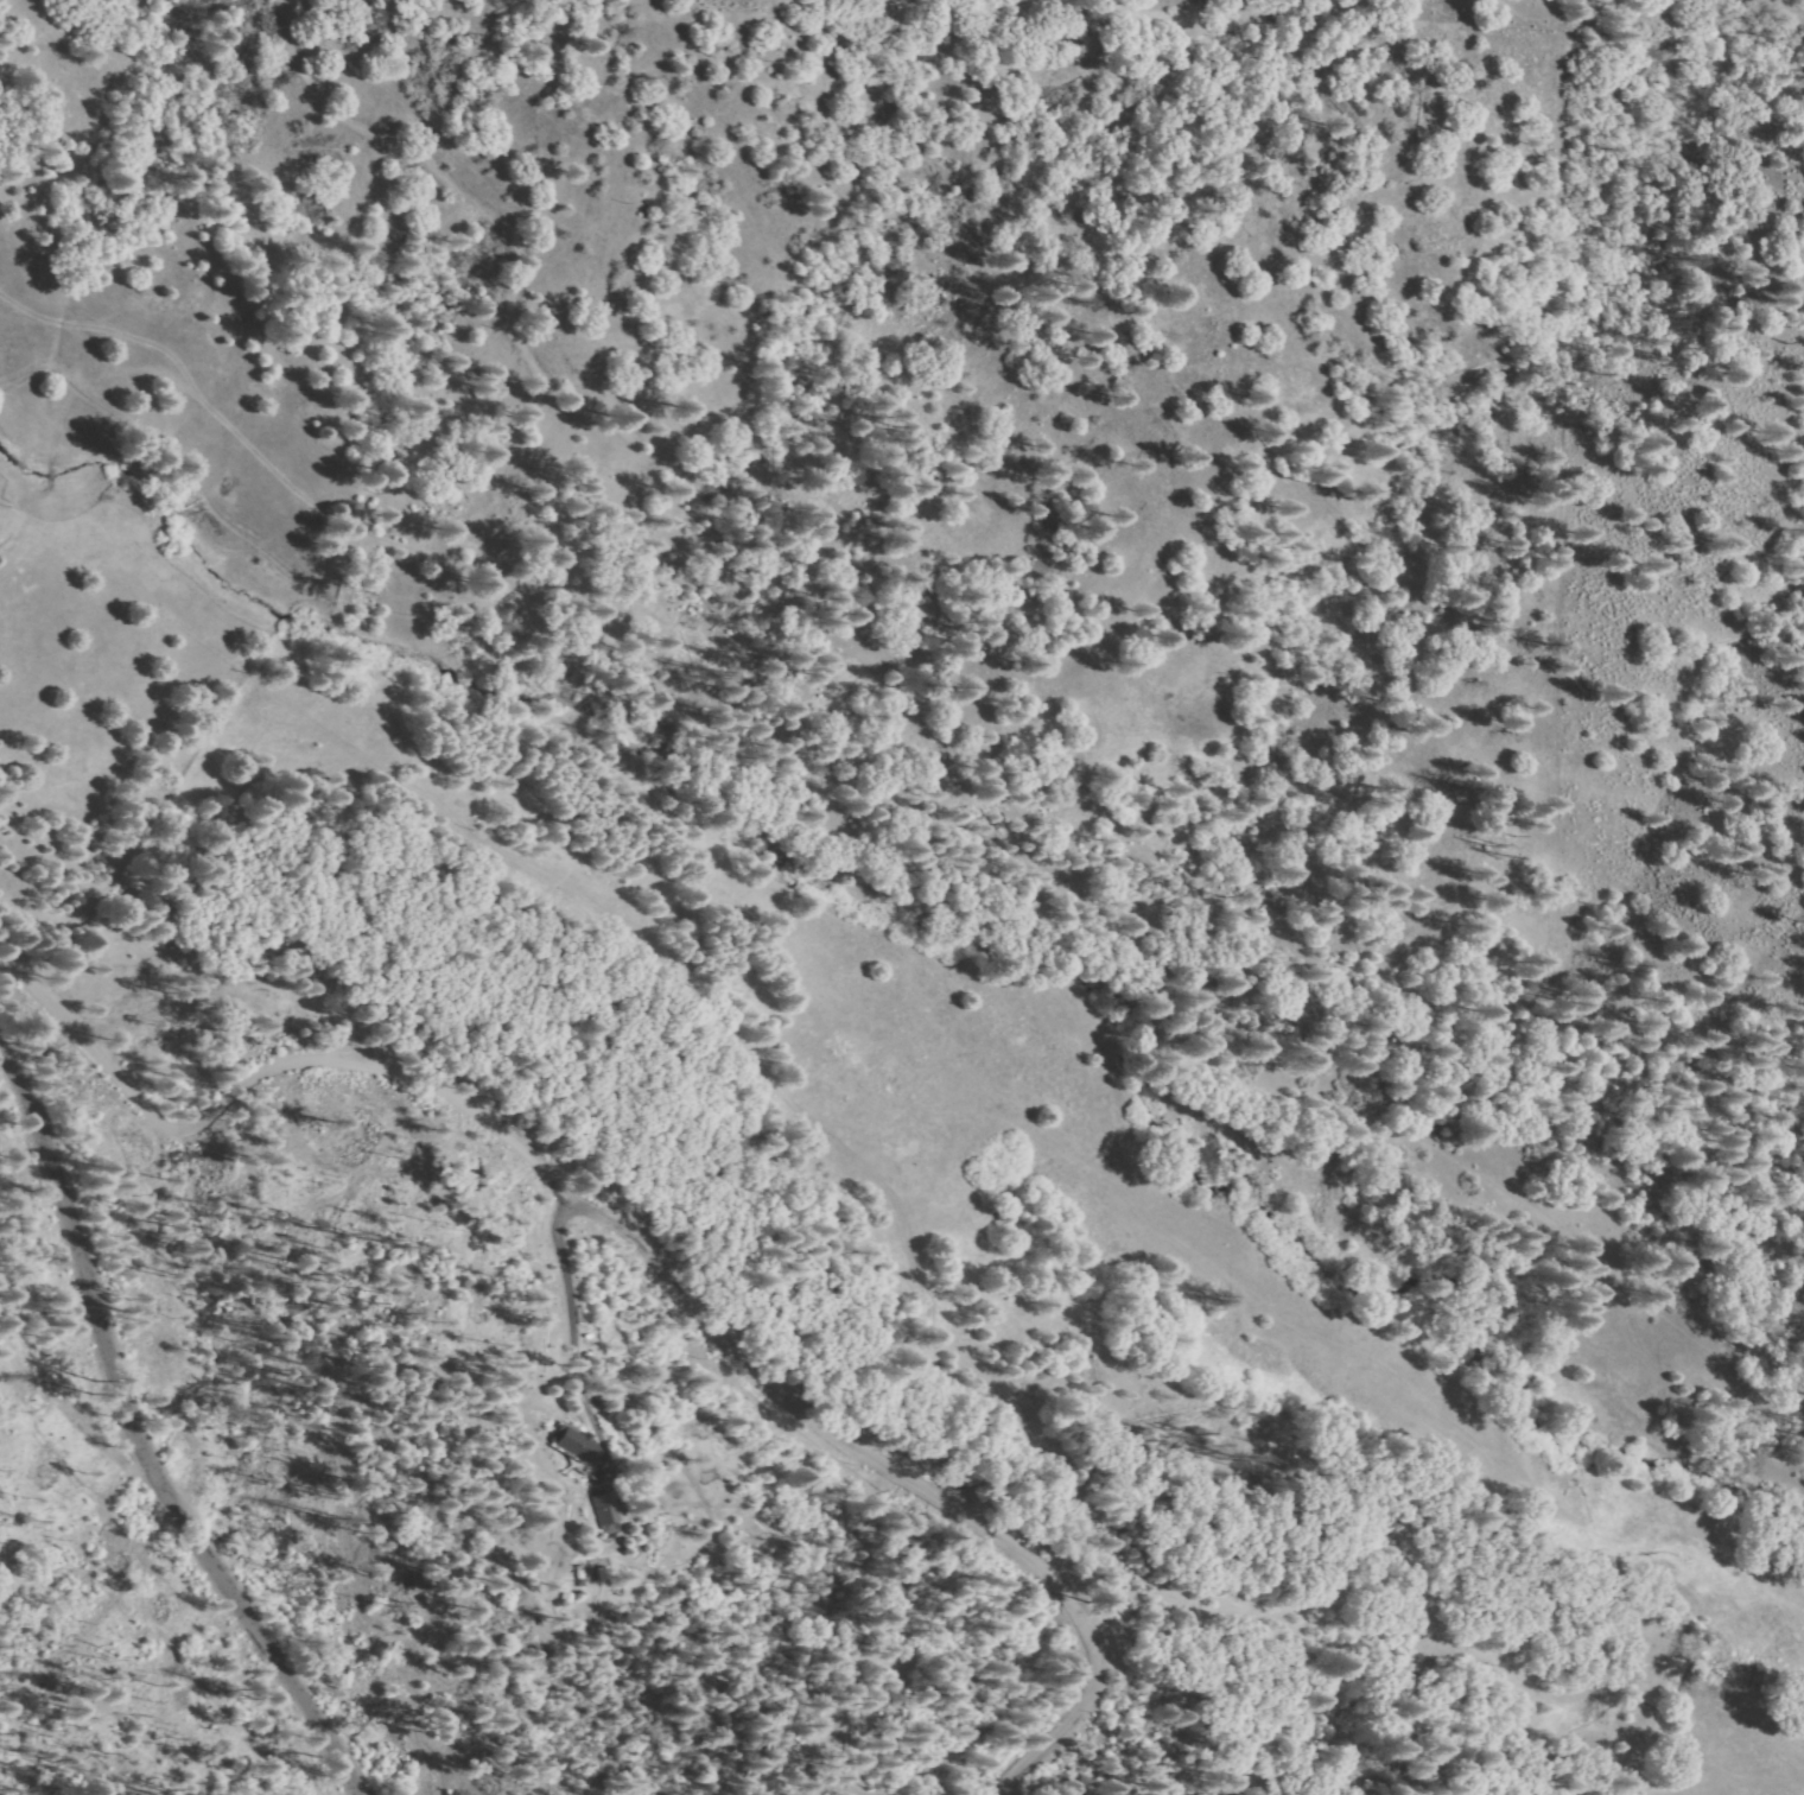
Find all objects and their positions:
road: (553, 1222)
building: (584, 1445)
road: (109, 1474)
building: (614, 1508)
building: (573, 1599)
road: (1206, 1624)
road: (1084, 1715)
road: (986, 1743)

